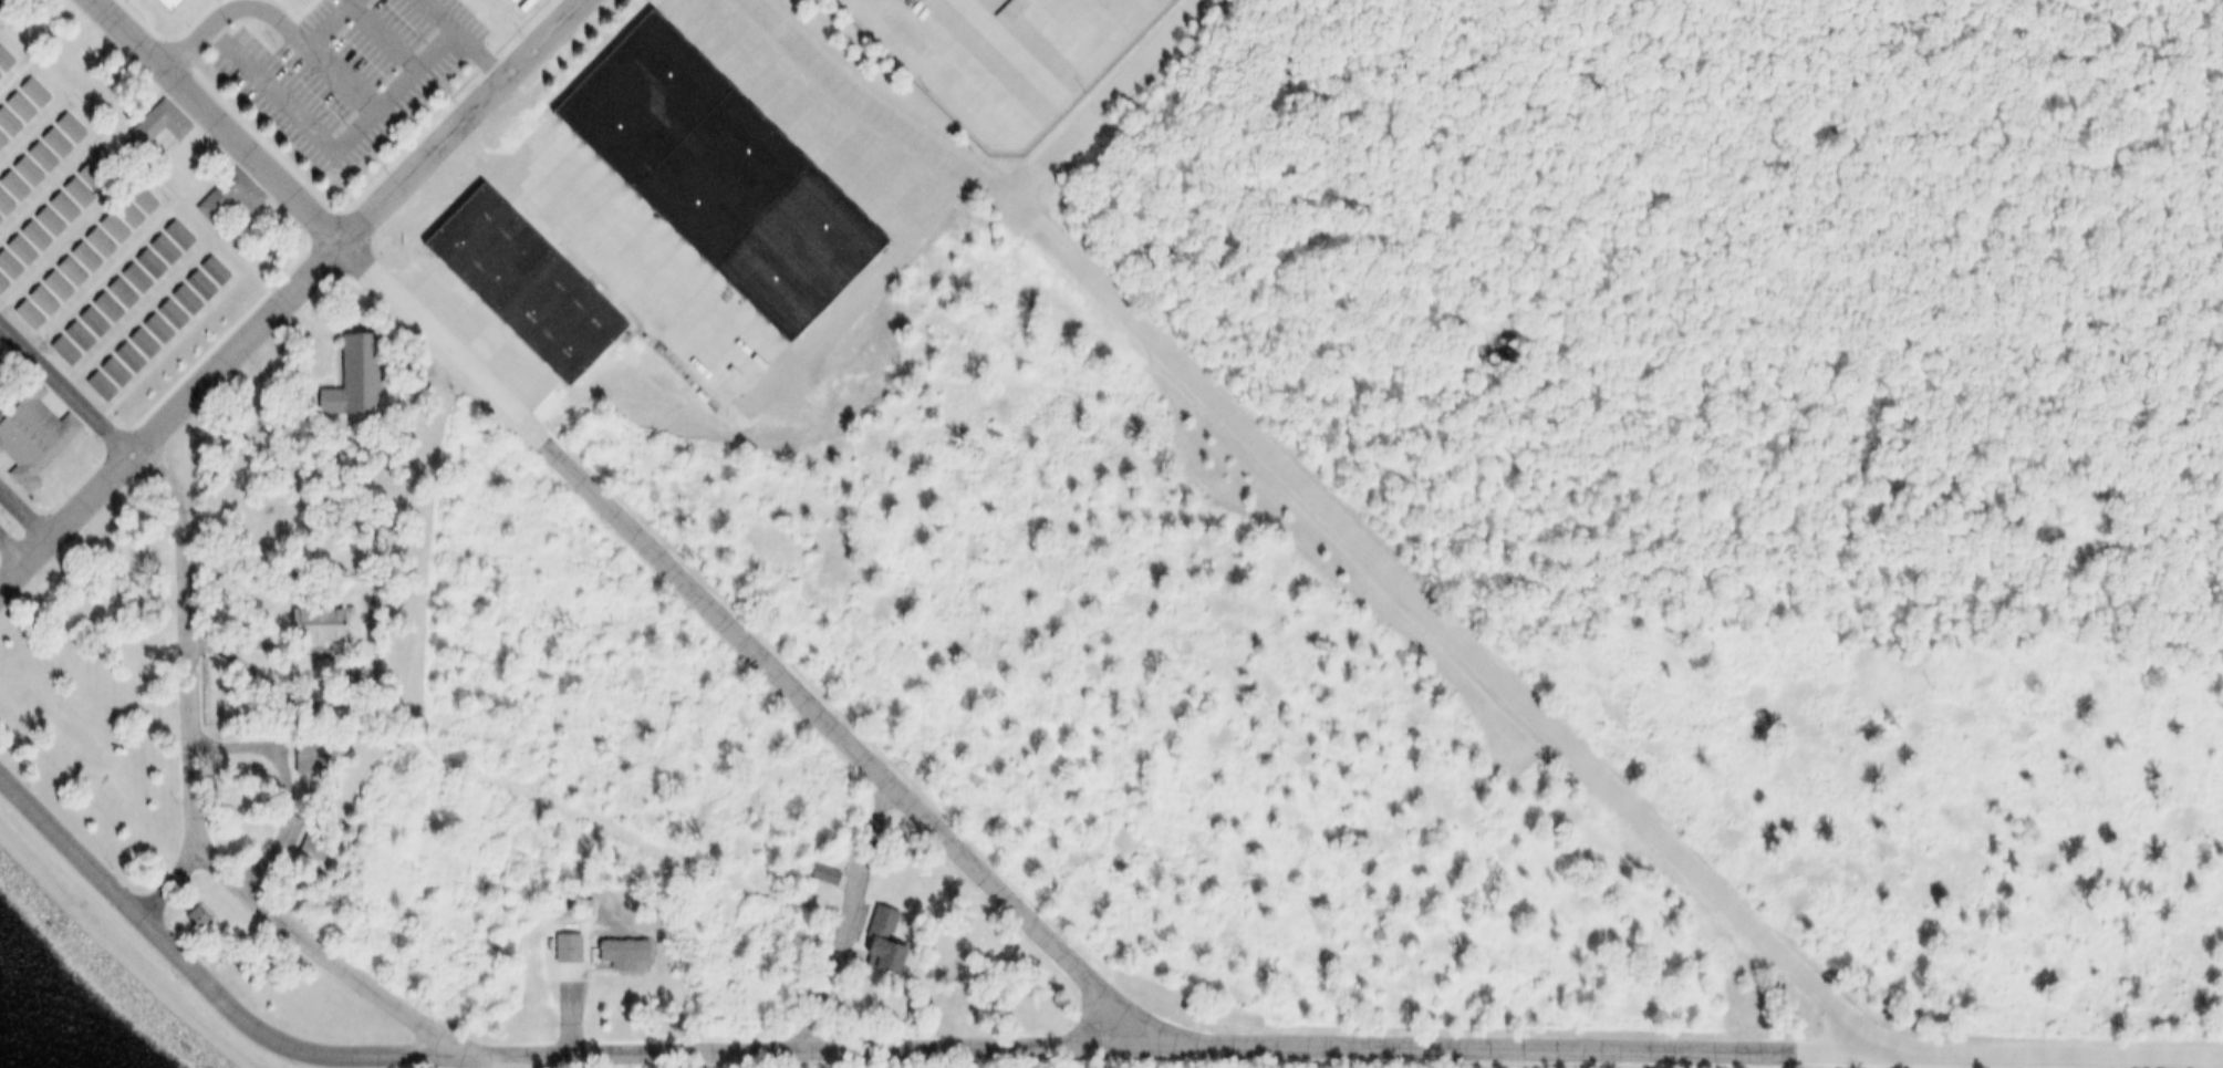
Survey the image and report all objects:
building: (3, 3)
building: (165, 6)
road: (231, 13)
road: (330, 24)
road: (382, 40)
road: (478, 56)
parking lot: (999, 60)
building: (2, 63)
road: (15, 73)
building: (0, 76)
parking lot: (340, 77)
road: (398, 91)
building: (28, 92)
road: (1105, 95)
building: (13, 107)
road: (289, 113)
building: (154, 123)
building: (6, 125)
road: (33, 126)
building: (63, 128)
building: (0, 142)
building: (49, 144)
building: (34, 157)
road: (137, 162)
building: (101, 163)
building: (19, 174)
building: (86, 178)
road: (51, 179)
building: (714, 179)
building: (8, 190)
building: (226, 191)
building: (72, 193)
building: (136, 199)
building: (2, 208)
building: (56, 208)
building: (122, 215)
building: (0, 220)
building: (42, 222)
building: (107, 229)
road: (70, 234)
building: (172, 235)
building: (29, 237)
building: (92, 245)
building: (157, 250)
building: (14, 251)
building: (77, 259)
building: (143, 265)
road: (583, 265)
building: (6, 270)
building: (208, 272)
building: (64, 273)
road: (101, 274)
building: (127, 280)
building: (1, 284)
road: (288, 284)
building: (194, 287)
building: (518, 287)
building: (51, 288)
building: (113, 294)
building: (178, 301)
building: (35, 303)
road: (137, 309)
building: (100, 310)
building: (22, 317)
building: (164, 317)
building: (86, 323)
building: (158, 330)
building: (148, 331)
building: (71, 339)
road: (170, 342)
building: (135, 346)
building: (58, 352)
building: (122, 360)
building: (1, 362)
building: (107, 375)
building: (355, 379)
road: (62, 383)
building: (321, 386)
building: (93, 388)
building: (30, 431)
road: (1331, 507)
road: (19, 516)
road: (631, 522)
road: (6, 554)
building: (303, 622)
road: (195, 799)
building: (315, 844)
building: (817, 874)
road: (181, 891)
building: (581, 906)
building: (589, 911)
road: (853, 913)
building: (200, 917)
building: (872, 940)
building: (560, 947)
building: (614, 954)
road: (1056, 1044)
road: (500, 1059)

